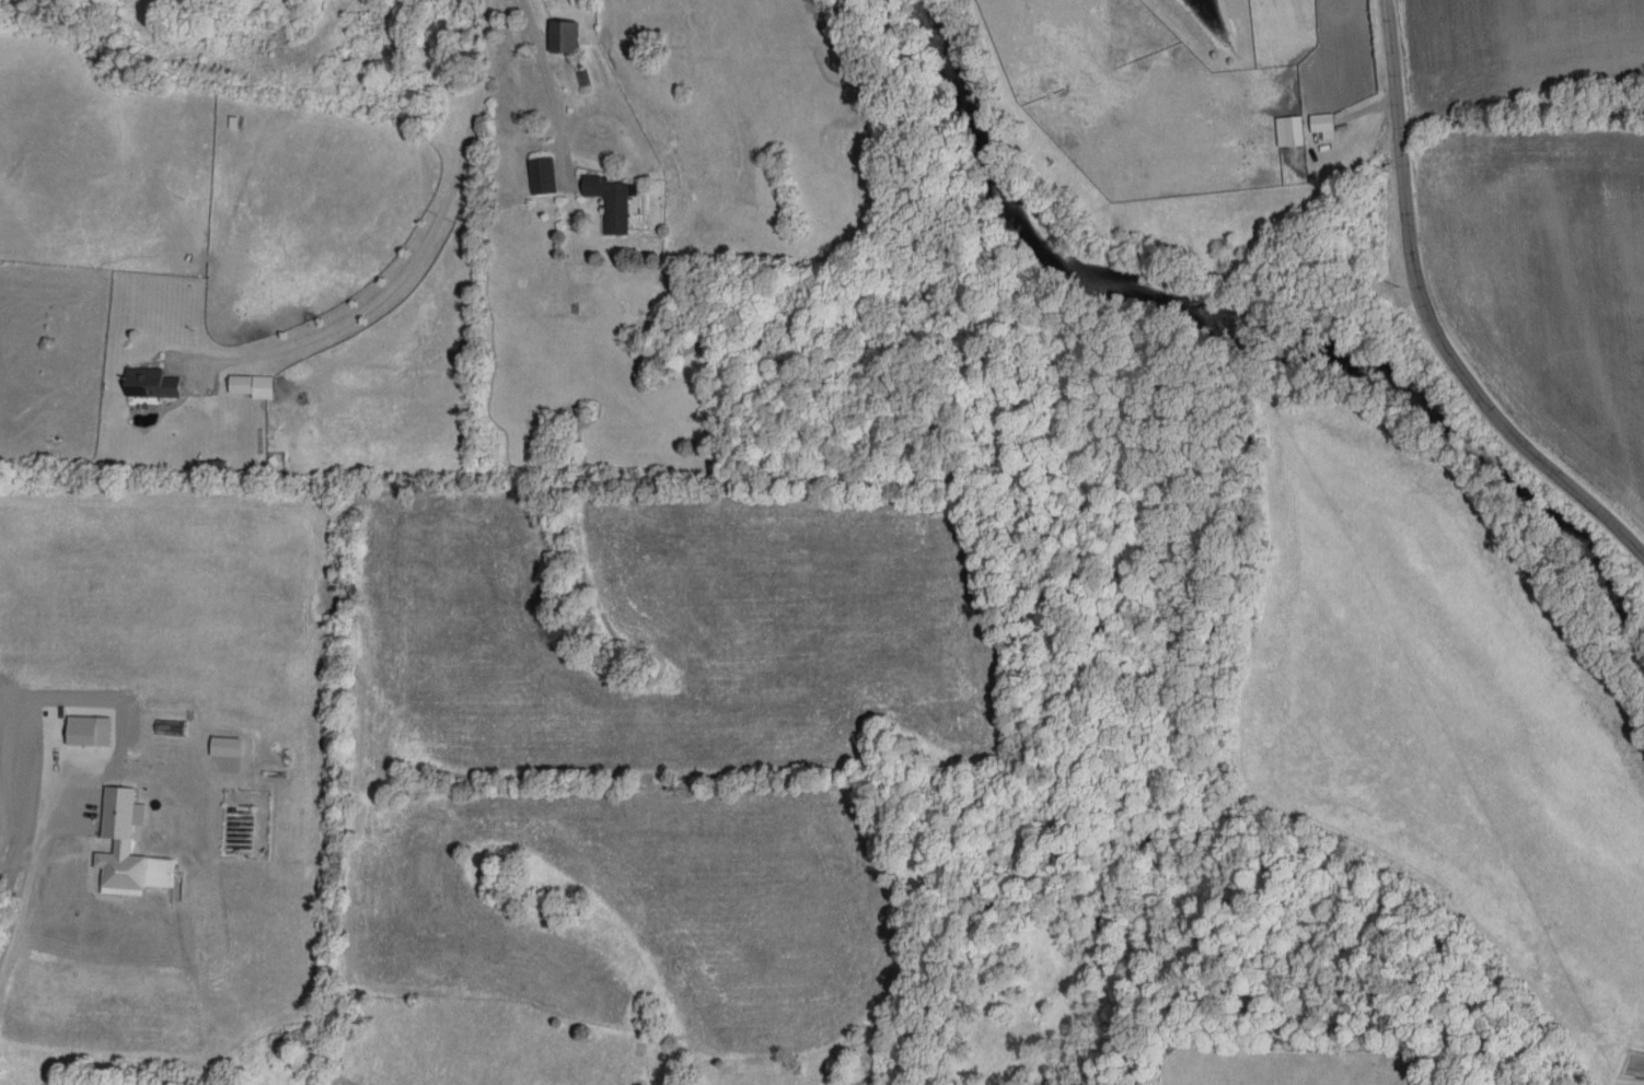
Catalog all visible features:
building: (564, 35)
road: (548, 79)
building: (1322, 124)
building: (1289, 130)
building: (542, 174)
building: (611, 200)
road: (426, 236)
road: (1425, 318)
building: (150, 382)
building: (253, 384)
building: (224, 745)
road: (23, 894)
park: (1274, 1061)

